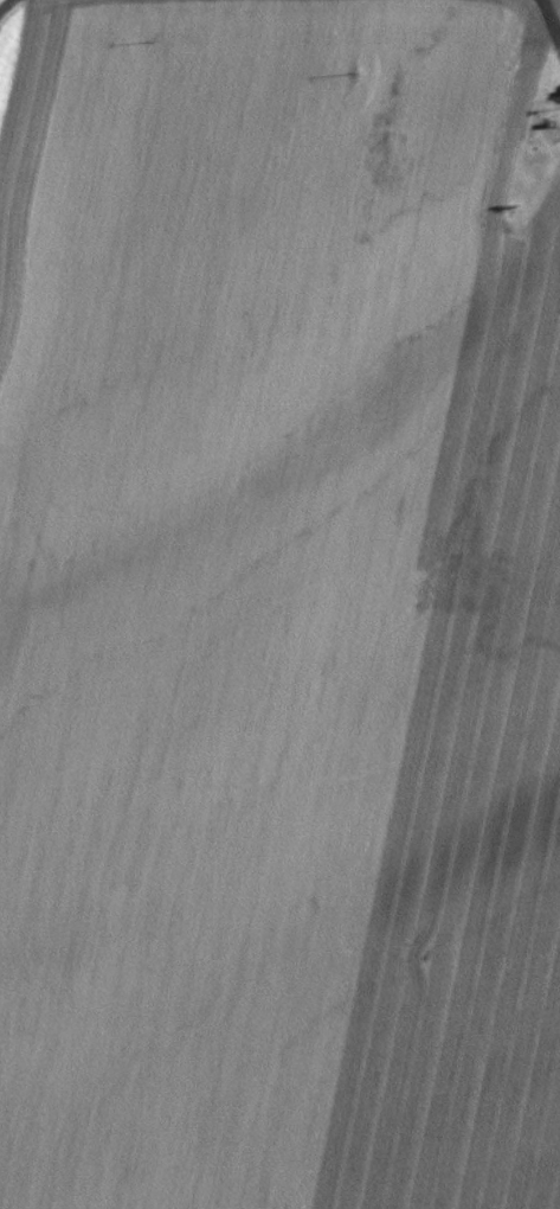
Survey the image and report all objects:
road: (5, 6)
road: (549, 21)

